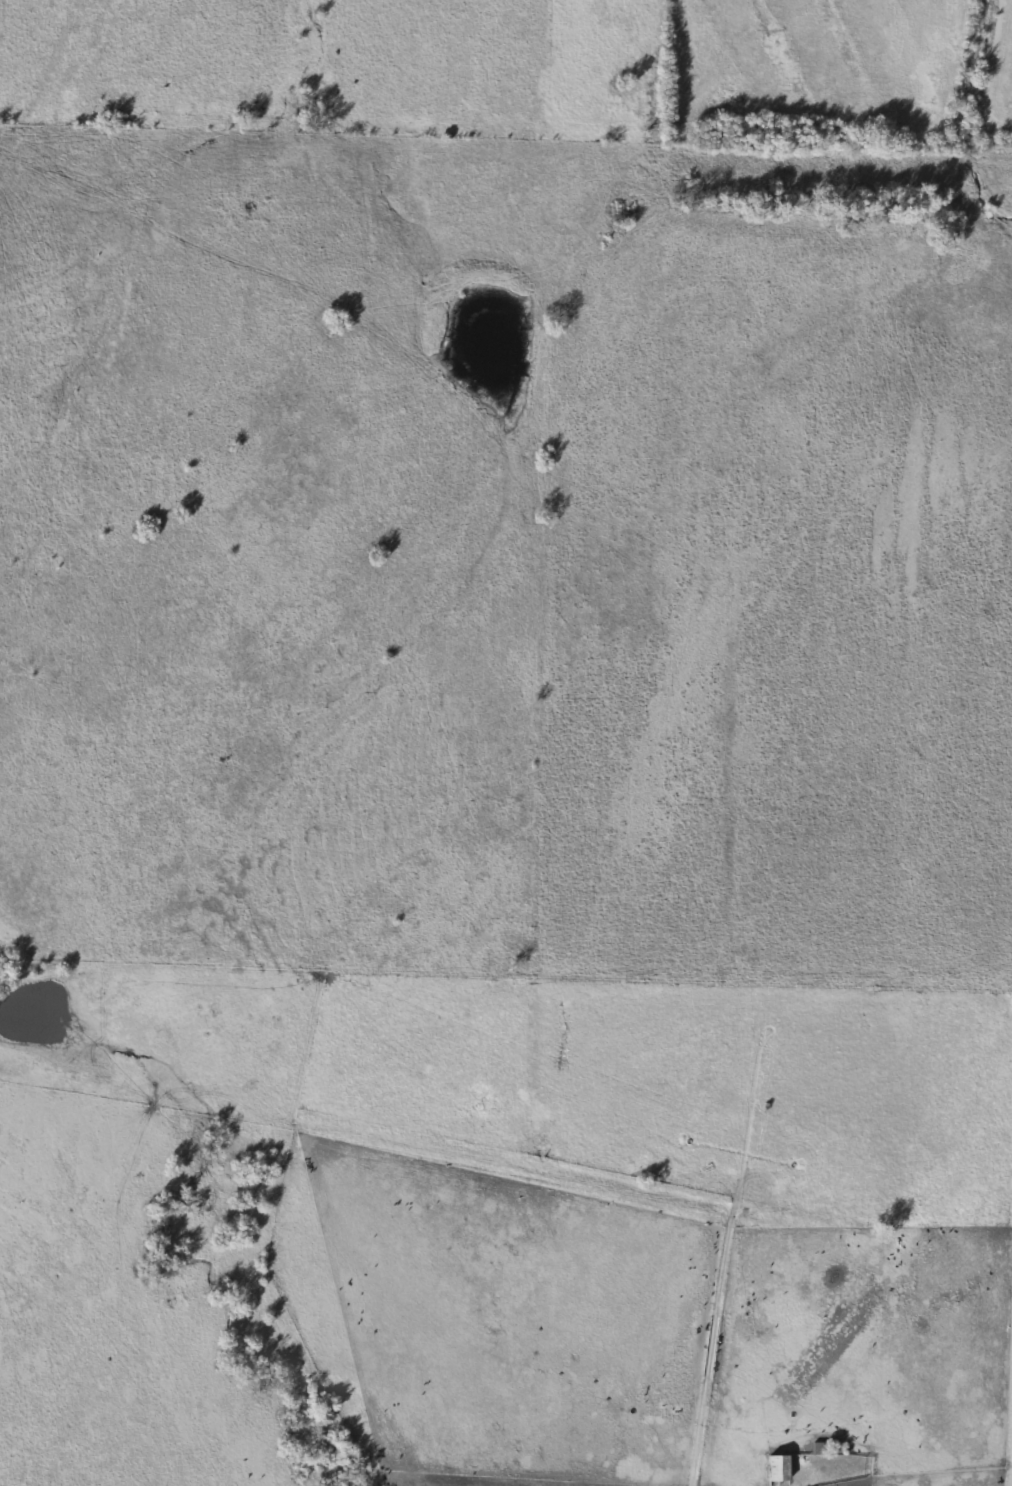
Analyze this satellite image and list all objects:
road: (425, 42)
building: (777, 1470)

